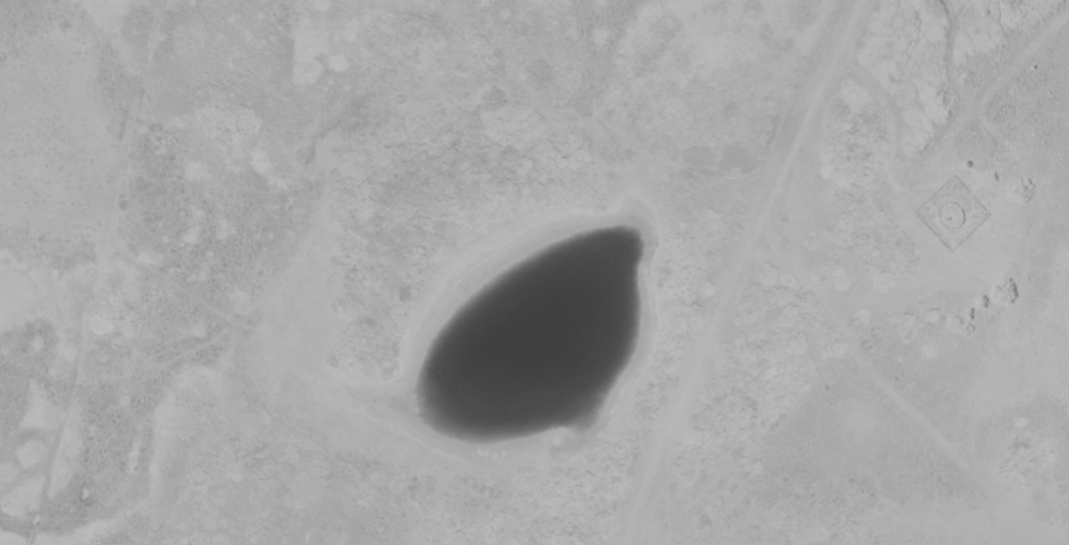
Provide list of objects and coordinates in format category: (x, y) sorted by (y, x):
road: (712, 269)

